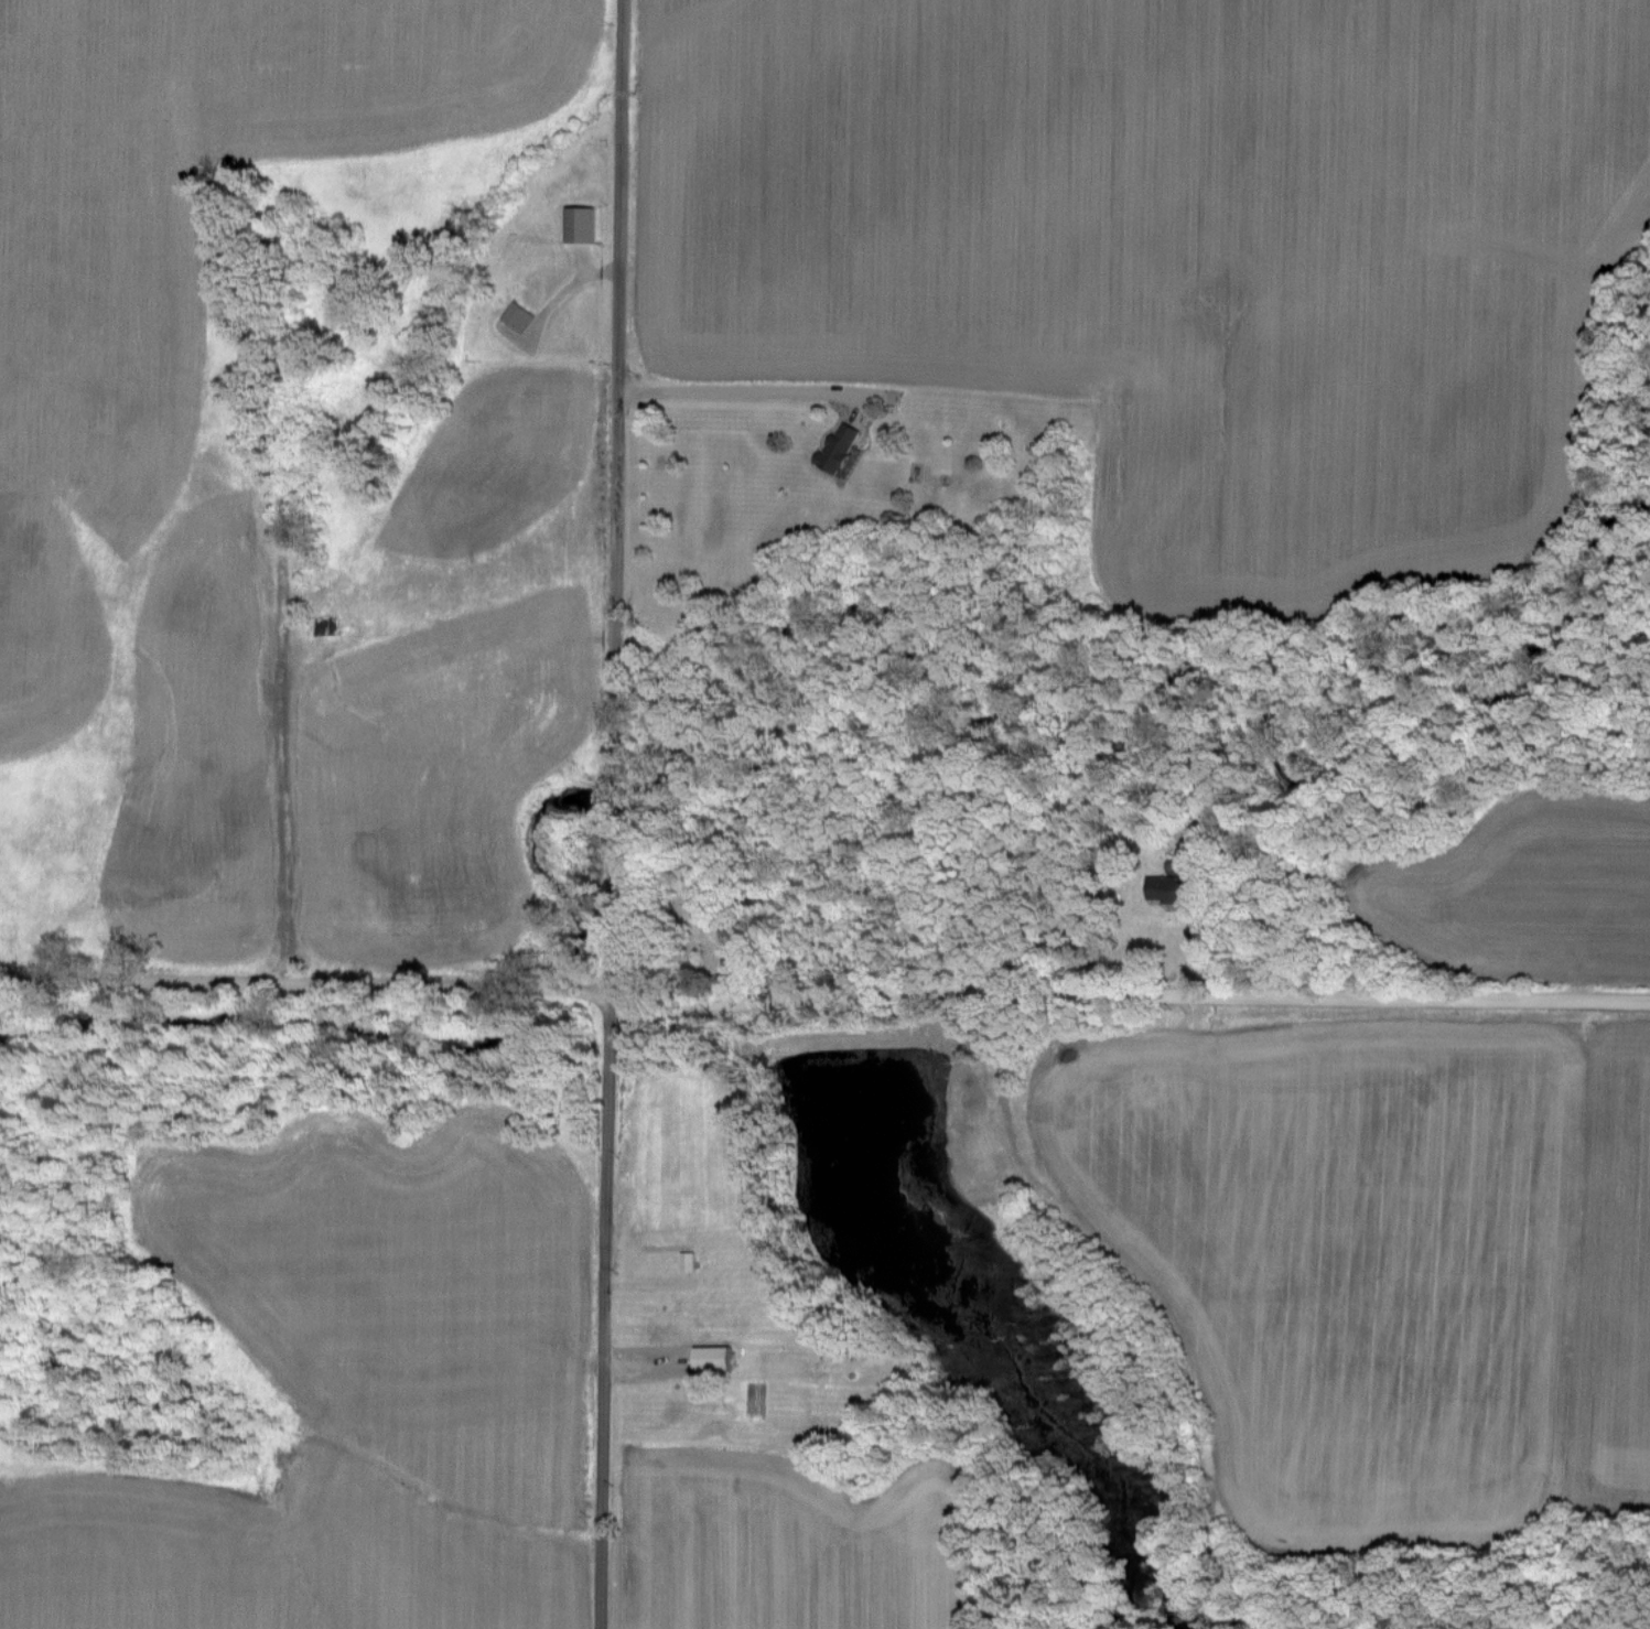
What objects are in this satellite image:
building: (520, 314)
road: (740, 388)
road: (618, 814)
building: (1163, 885)
road: (819, 997)
road: (1152, 1277)
building: (711, 1352)

